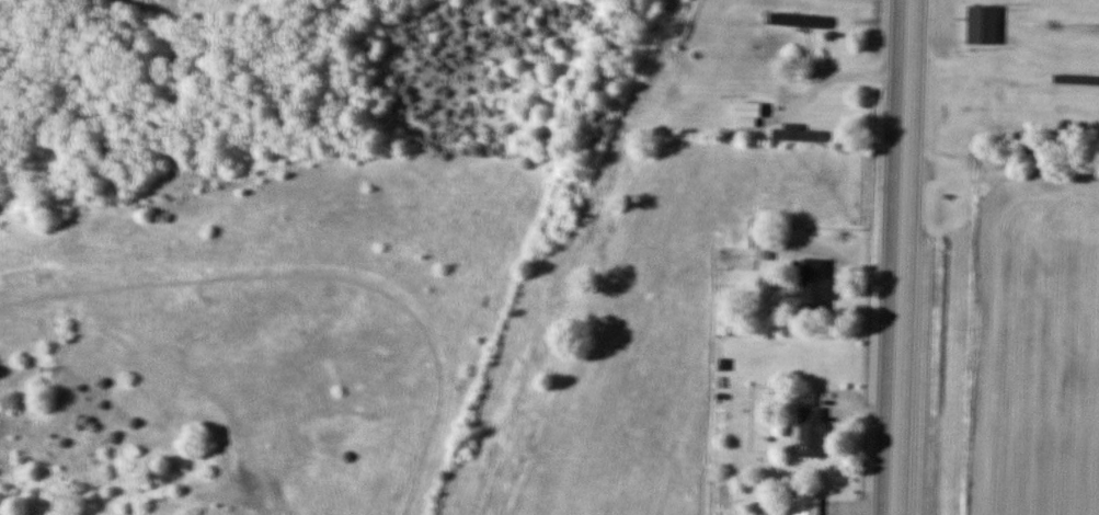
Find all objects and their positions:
building: (799, 20)
building: (985, 23)
building: (747, 110)
building: (794, 133)
building: (762, 249)
road: (902, 257)
building: (815, 286)
building: (811, 431)
building: (808, 505)

